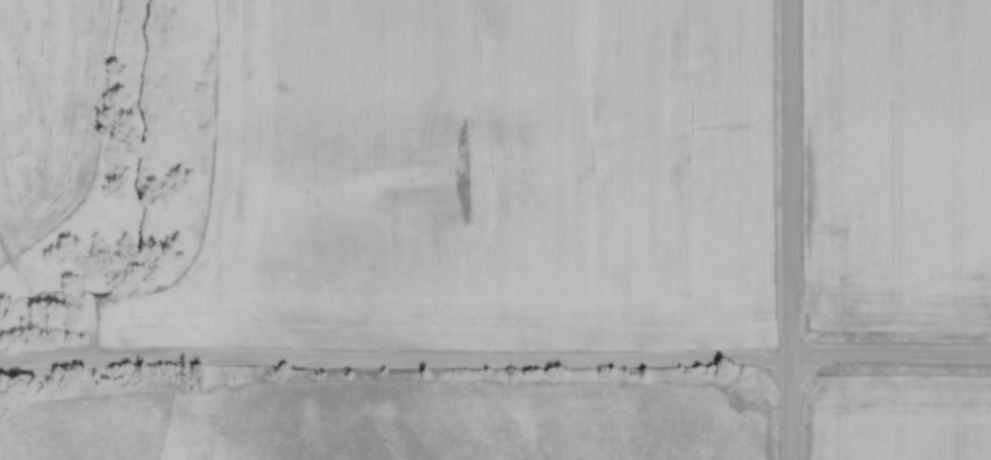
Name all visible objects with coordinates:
road: (785, 230)
road: (888, 359)

